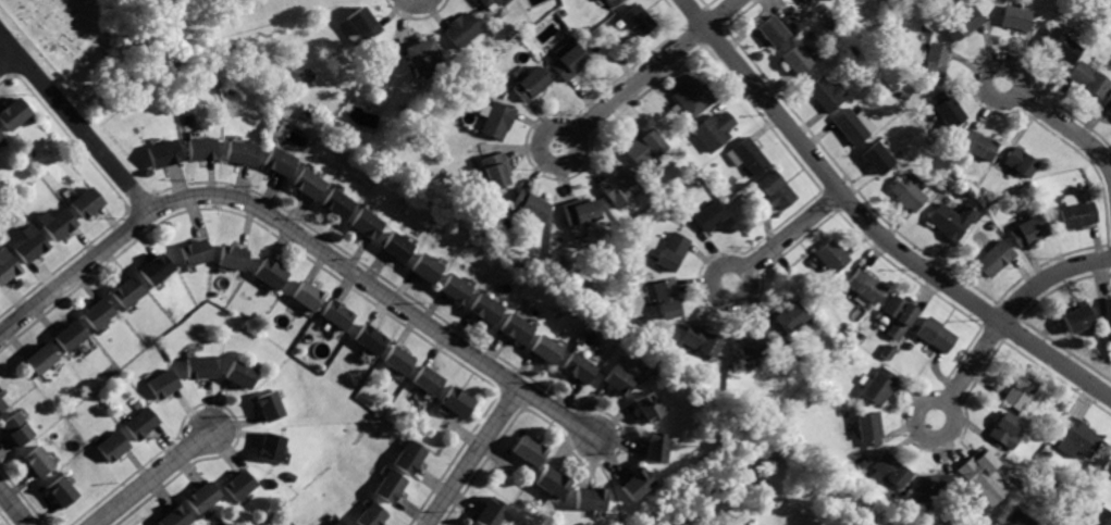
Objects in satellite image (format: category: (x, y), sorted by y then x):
building: (827, 0)
building: (609, 2)
building: (484, 3)
building: (1013, 16)
building: (362, 23)
building: (633, 23)
building: (963, 23)
building: (461, 27)
building: (768, 30)
park: (97, 43)
building: (1059, 45)
building: (422, 55)
road: (8, 60)
building: (568, 61)
building: (792, 61)
building: (933, 62)
road: (649, 71)
building: (1086, 79)
building: (530, 85)
building: (688, 91)
building: (825, 92)
building: (1107, 102)
building: (949, 112)
building: (11, 113)
building: (495, 120)
road: (75, 123)
road: (1060, 123)
building: (848, 126)
building: (708, 130)
building: (0, 135)
building: (645, 147)
building: (979, 148)
building: (198, 149)
building: (239, 151)
building: (158, 152)
building: (746, 157)
building: (875, 158)
building: (1020, 162)
building: (279, 163)
building: (493, 170)
building: (614, 184)
building: (308, 185)
building: (773, 193)
building: (906, 195)
building: (82, 202)
building: (337, 204)
building: (529, 208)
building: (576, 213)
building: (1075, 213)
building: (709, 217)
building: (950, 222)
building: (54, 223)
building: (367, 226)
road: (871, 226)
building: (1029, 229)
road: (298, 237)
road: (785, 238)
building: (398, 247)
building: (28, 248)
building: (192, 250)
building: (670, 250)
building: (828, 255)
building: (230, 258)
building: (993, 258)
building: (7, 267)
building: (151, 267)
building: (428, 270)
building: (268, 273)
building: (862, 288)
building: (457, 289)
building: (124, 290)
building: (305, 296)
building: (667, 300)
building: (486, 310)
building: (97, 311)
building: (1104, 312)
building: (333, 315)
road: (1007, 315)
building: (894, 316)
building: (1077, 316)
building: (787, 317)
building: (518, 328)
building: (67, 336)
building: (935, 336)
building: (367, 340)
building: (698, 341)
building: (748, 346)
building: (545, 349)
building: (397, 361)
building: (41, 362)
building: (196, 368)
building: (580, 372)
building: (236, 375)
building: (428, 380)
building: (618, 380)
building: (159, 383)
building: (878, 387)
building: (1021, 389)
building: (456, 404)
building: (1, 407)
building: (263, 407)
building: (649, 408)
building: (139, 424)
building: (1003, 430)
building: (15, 432)
building: (869, 432)
building: (1075, 440)
building: (110, 447)
building: (264, 447)
building: (655, 447)
building: (527, 453)
building: (407, 457)
road: (472, 457)
building: (38, 462)
building: (974, 467)
building: (891, 470)
road: (151, 477)
building: (548, 484)
building: (236, 485)
building: (935, 486)
building: (386, 487)
building: (633, 487)
building: (59, 496)
building: (201, 498)
building: (588, 499)
road: (13, 508)
building: (490, 512)
building: (369, 515)
building: (174, 517)
building: (1099, 518)
building: (335, 523)
building: (468, 524)

